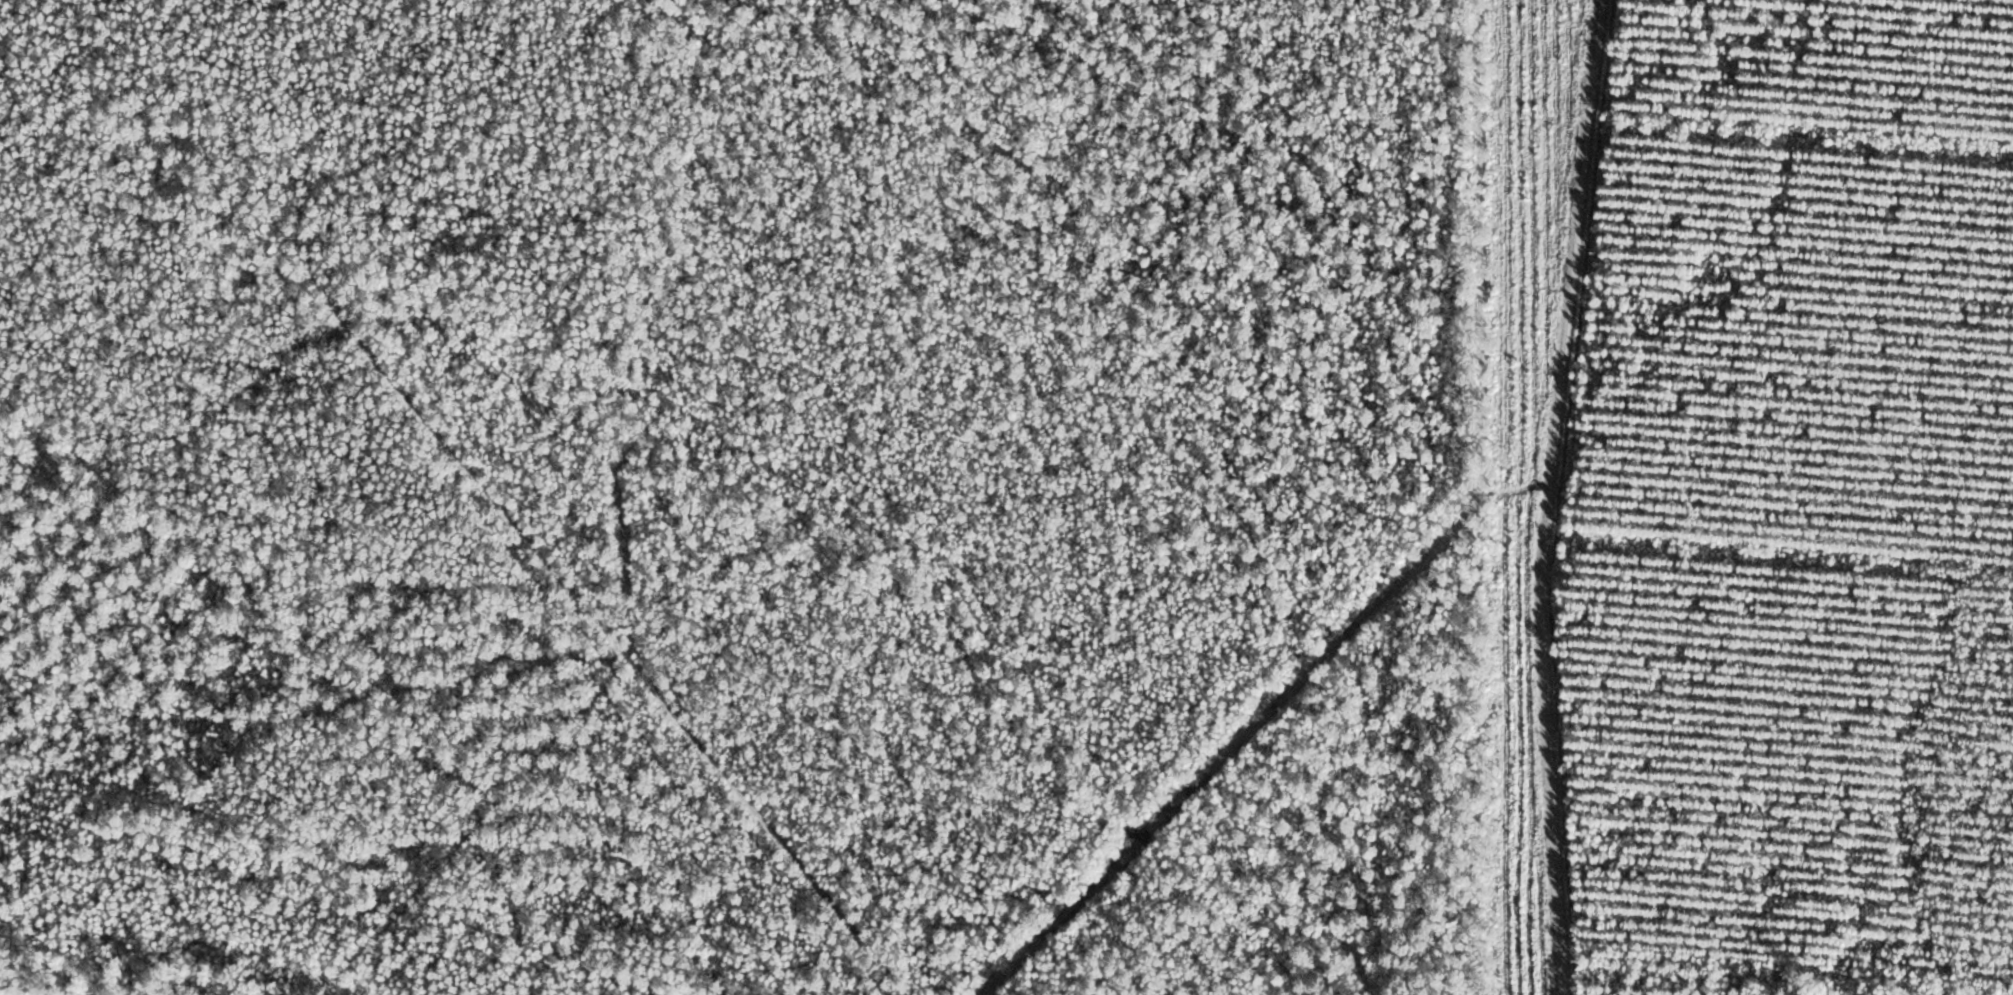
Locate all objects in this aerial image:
road: (1538, 495)

